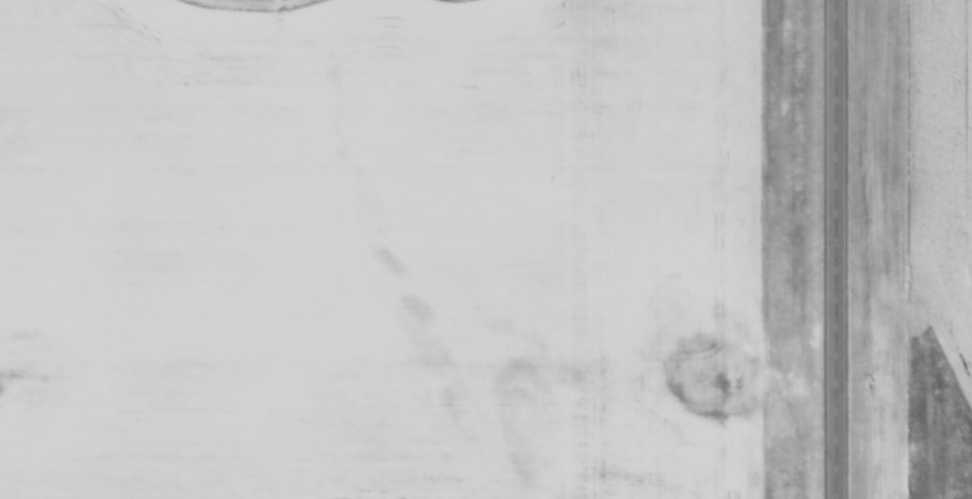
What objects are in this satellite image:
road: (836, 249)

